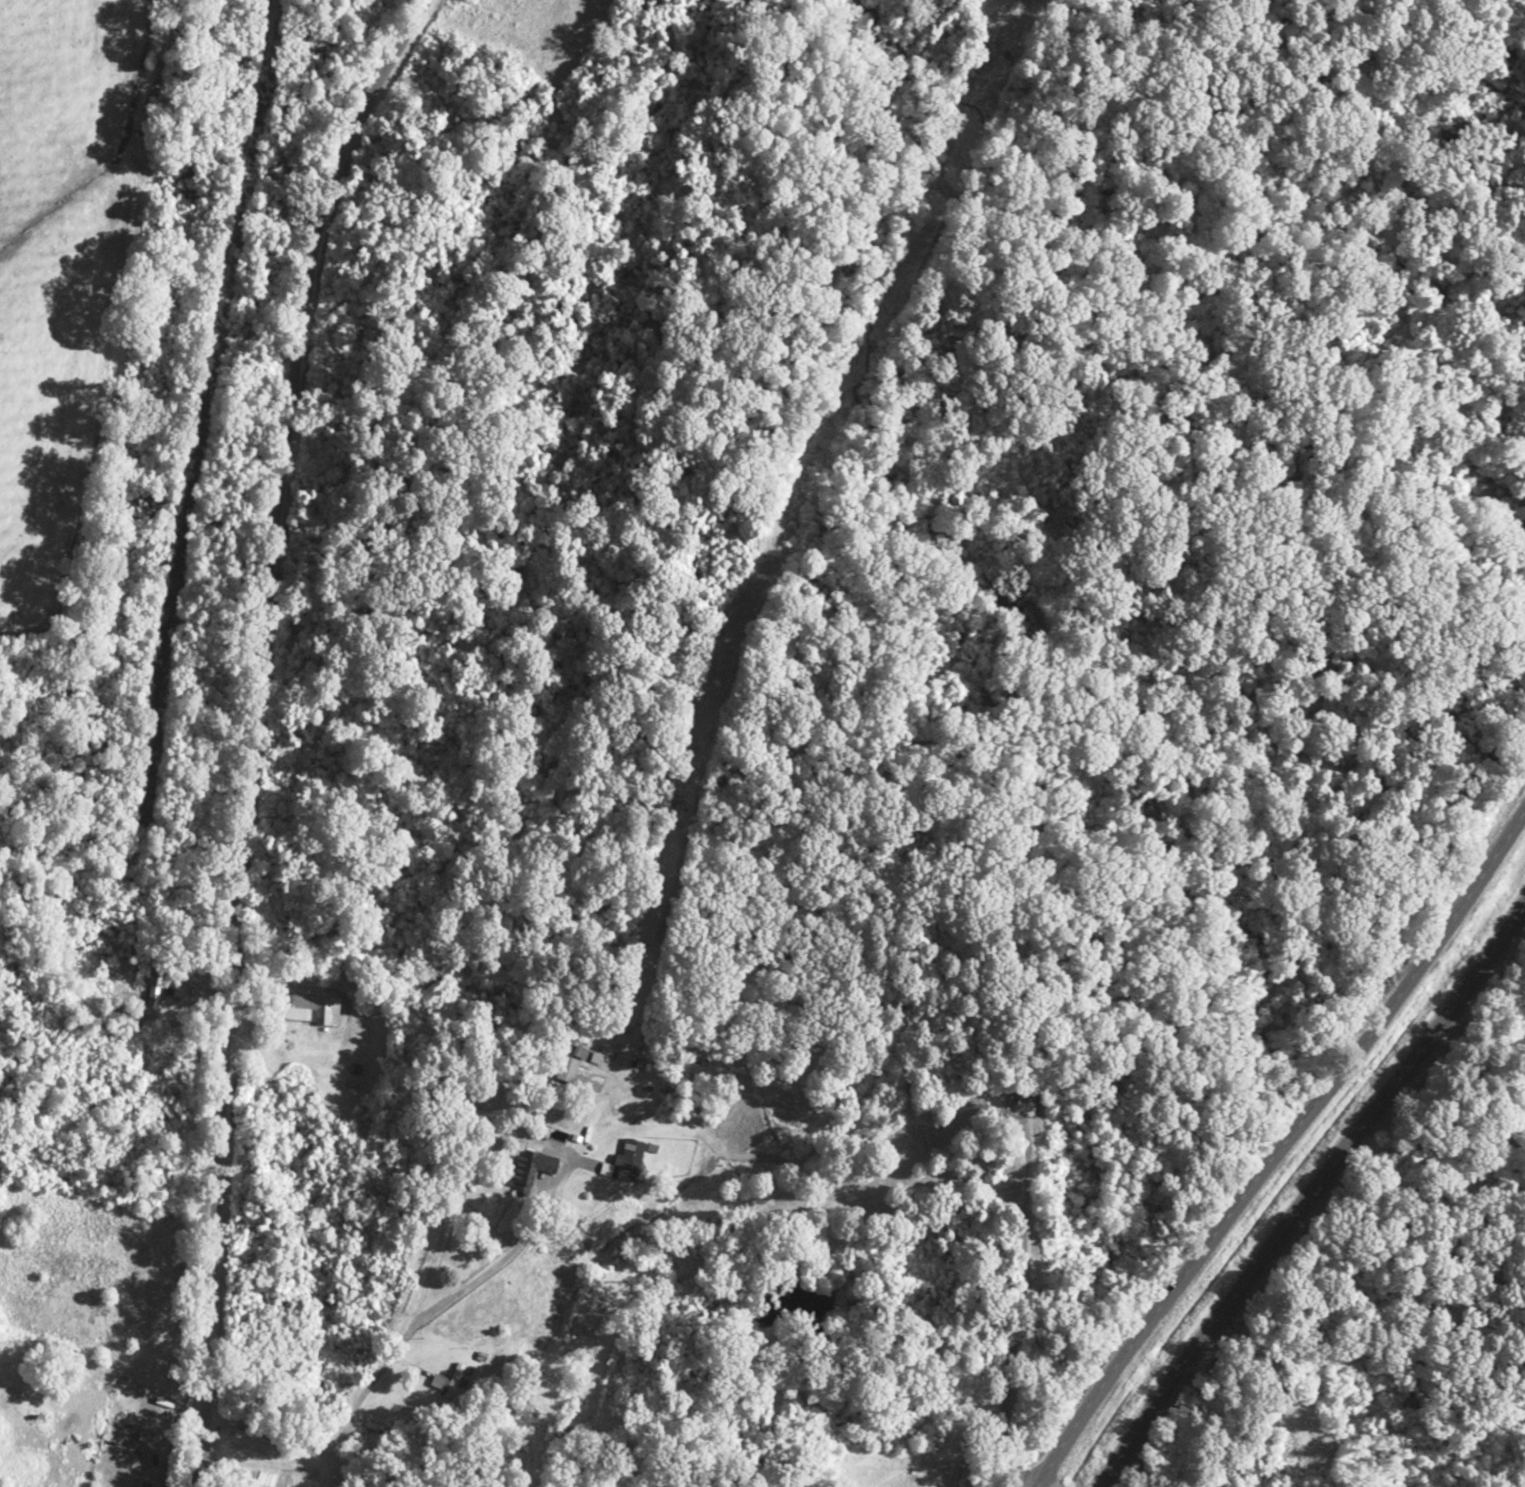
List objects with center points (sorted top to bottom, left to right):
road: (47, 24)
road: (179, 381)
road: (253, 729)
building: (571, 1073)
road: (1279, 1140)
building: (626, 1161)
building: (525, 1170)
road: (1311, 1192)

